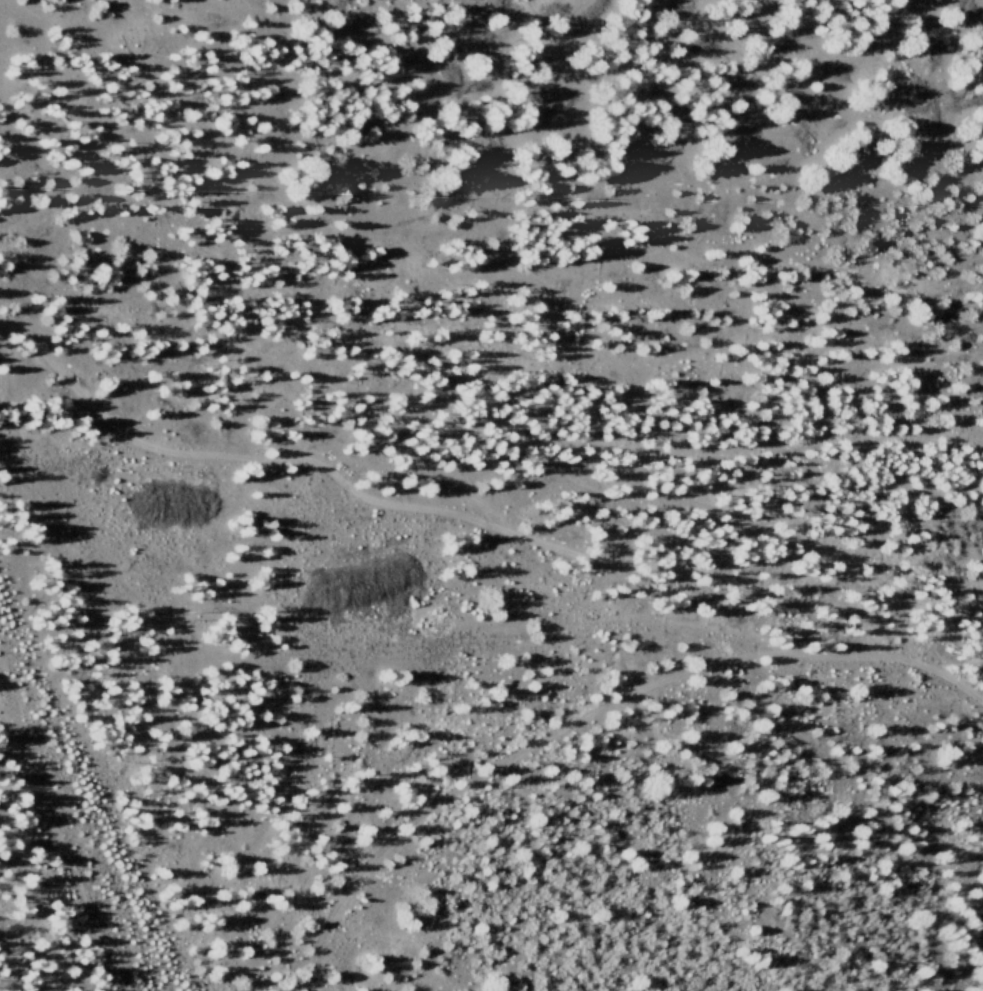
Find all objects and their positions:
road: (426, 512)
road: (592, 713)
road: (69, 829)

